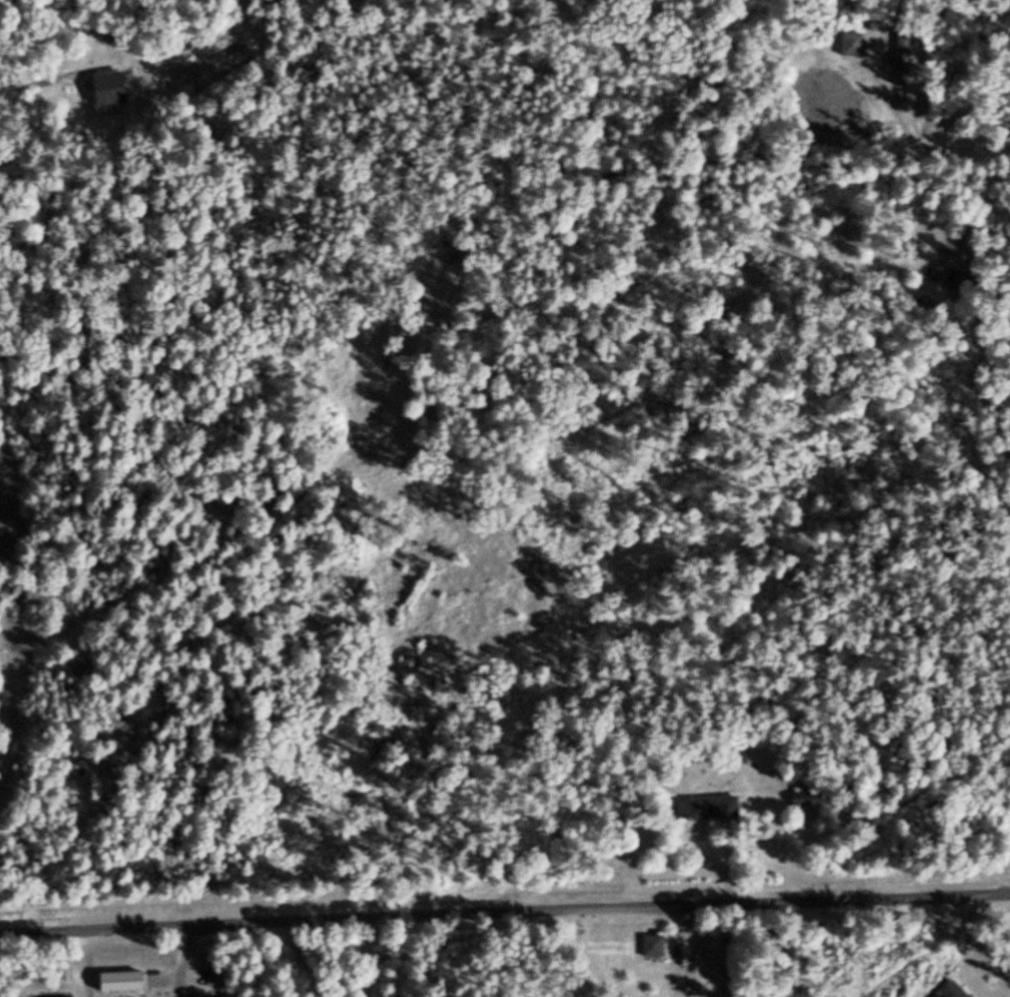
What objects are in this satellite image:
building: (893, 48)
building: (810, 799)
building: (712, 809)
road: (504, 911)
building: (656, 945)
road: (341, 958)
building: (955, 991)

